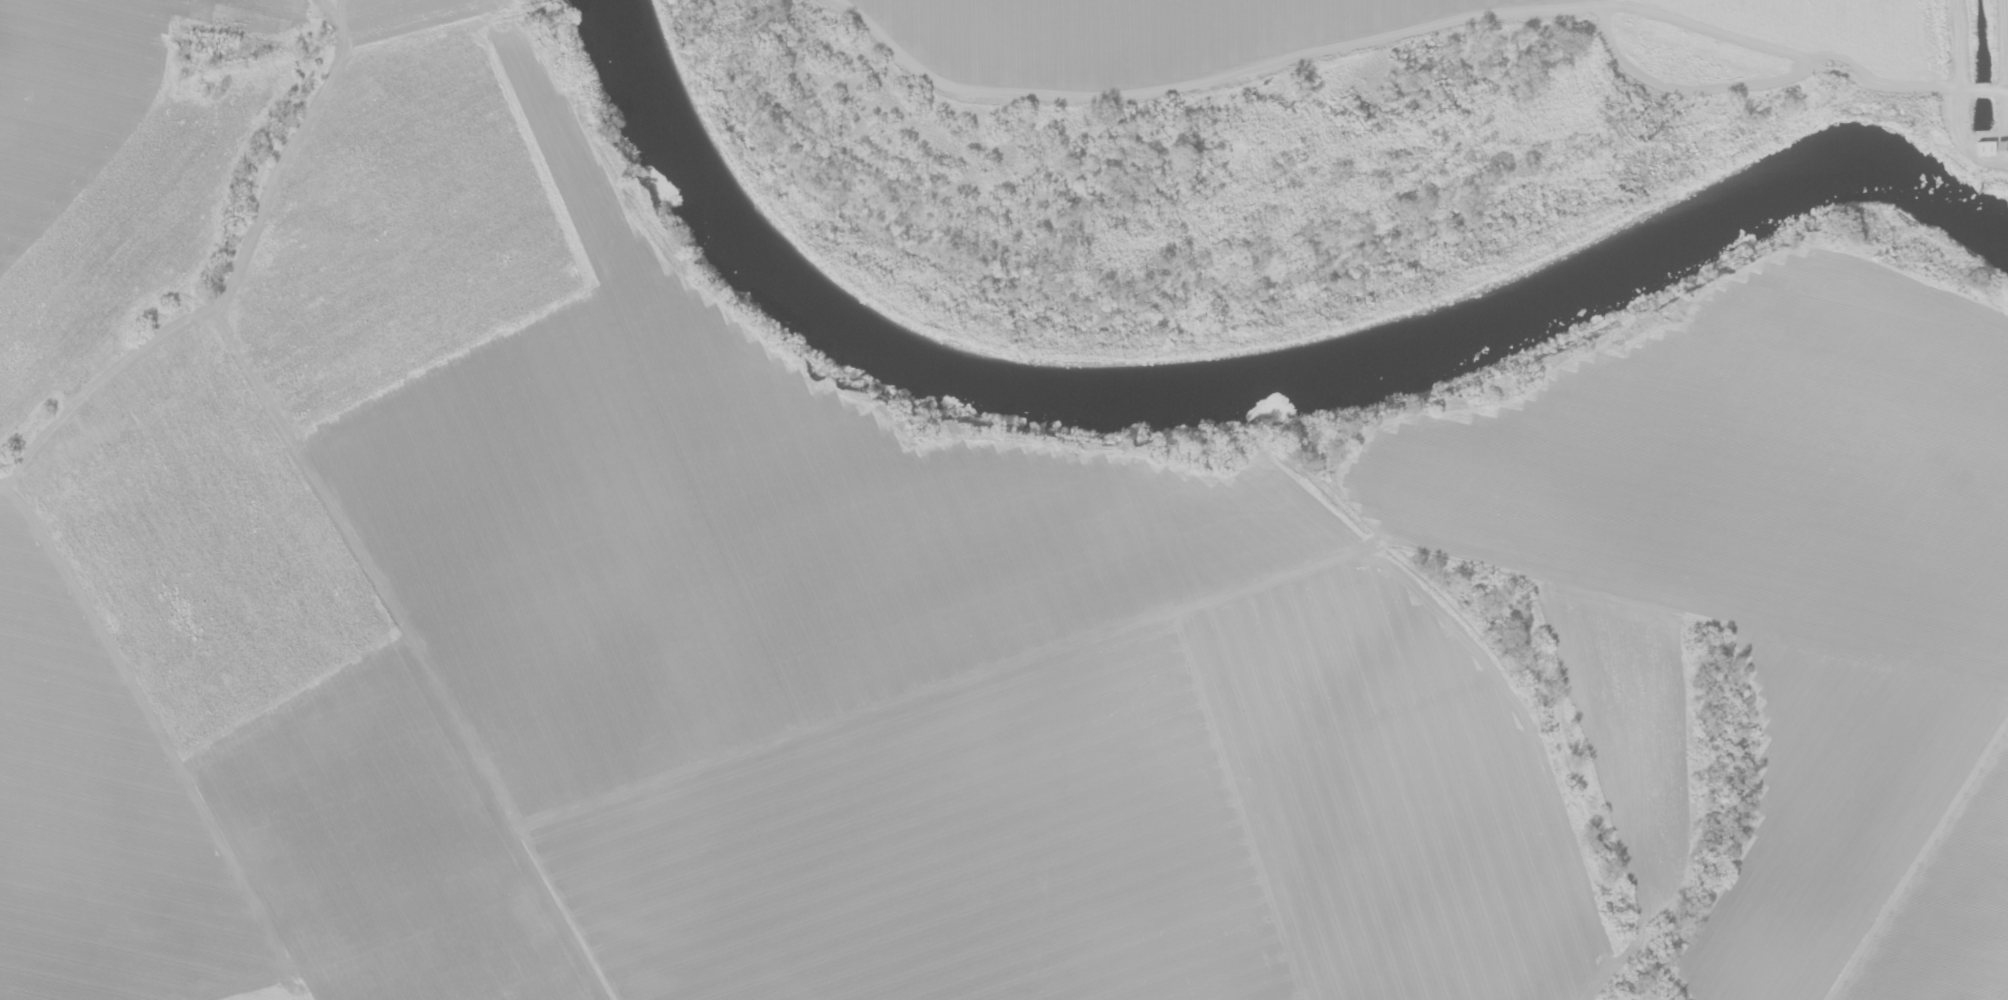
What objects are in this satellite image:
road: (2002, 46)
road: (2005, 97)
river: (1249, 370)

